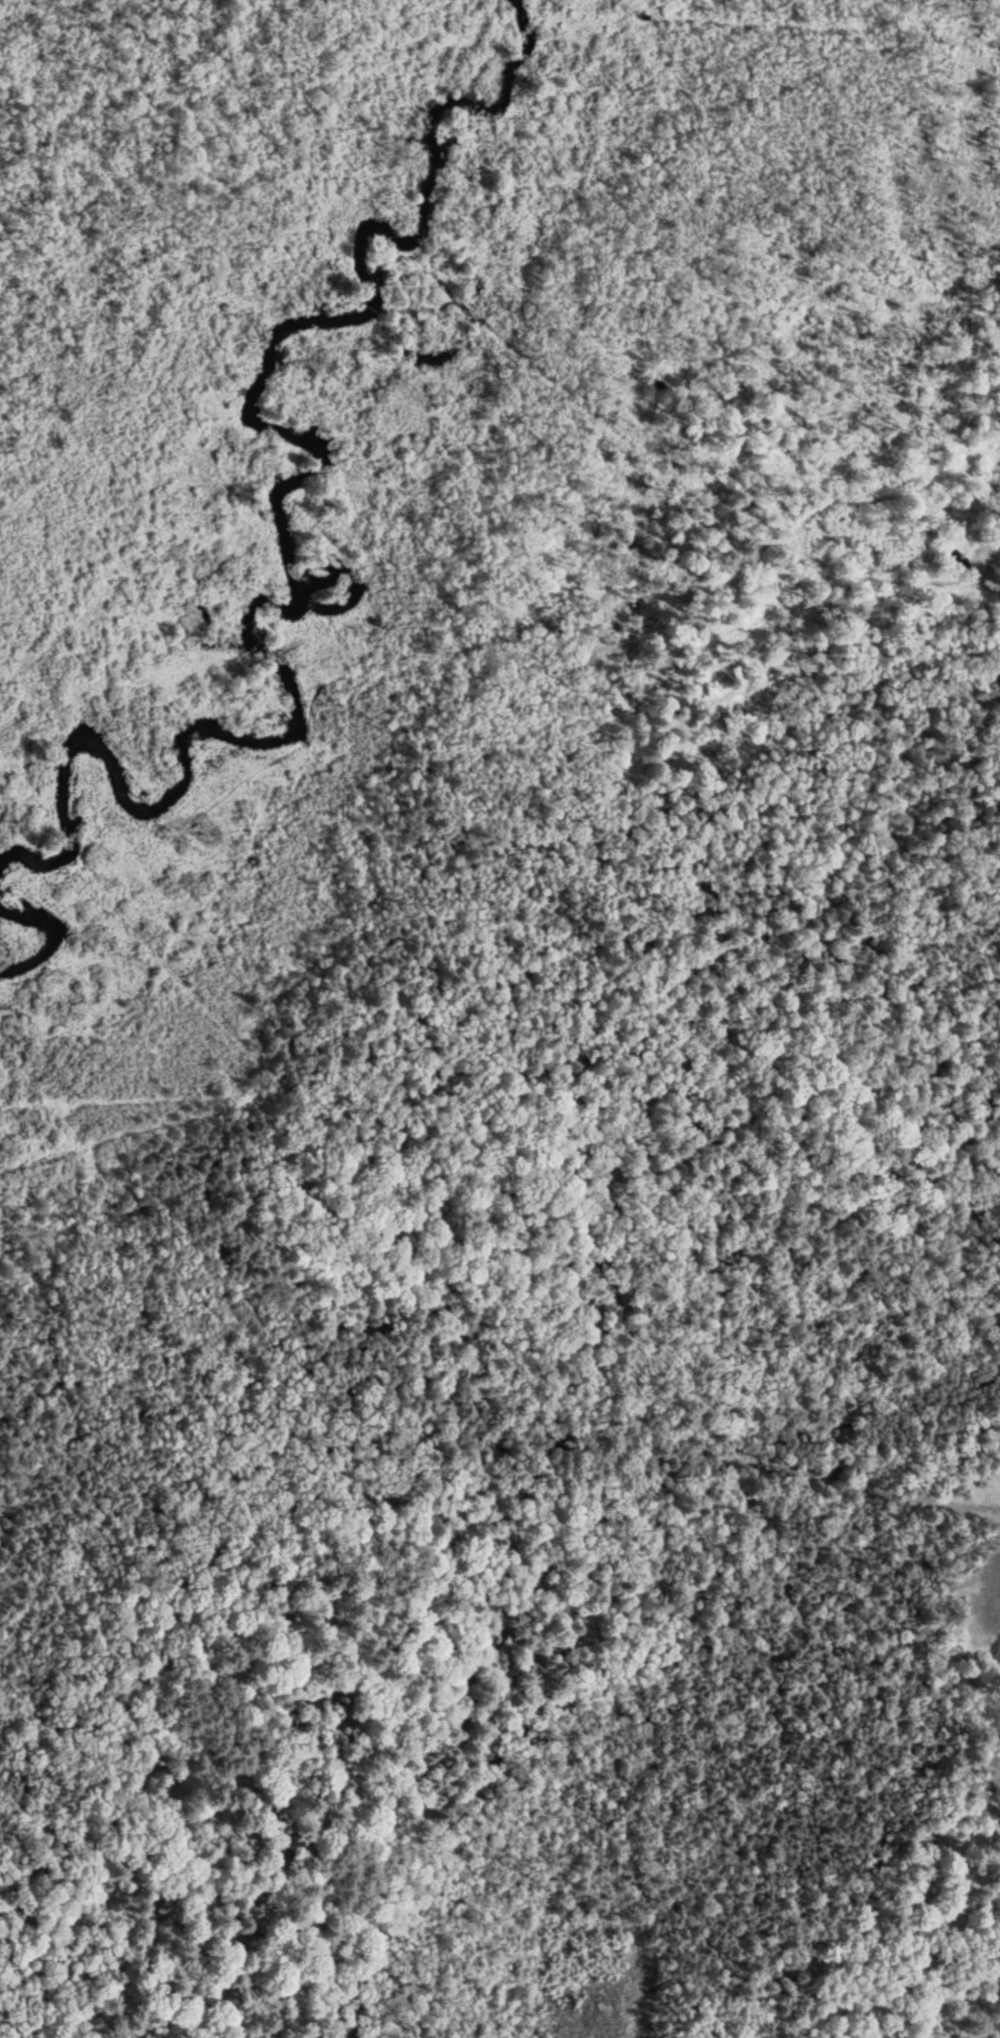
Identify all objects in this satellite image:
river: (305, 589)

